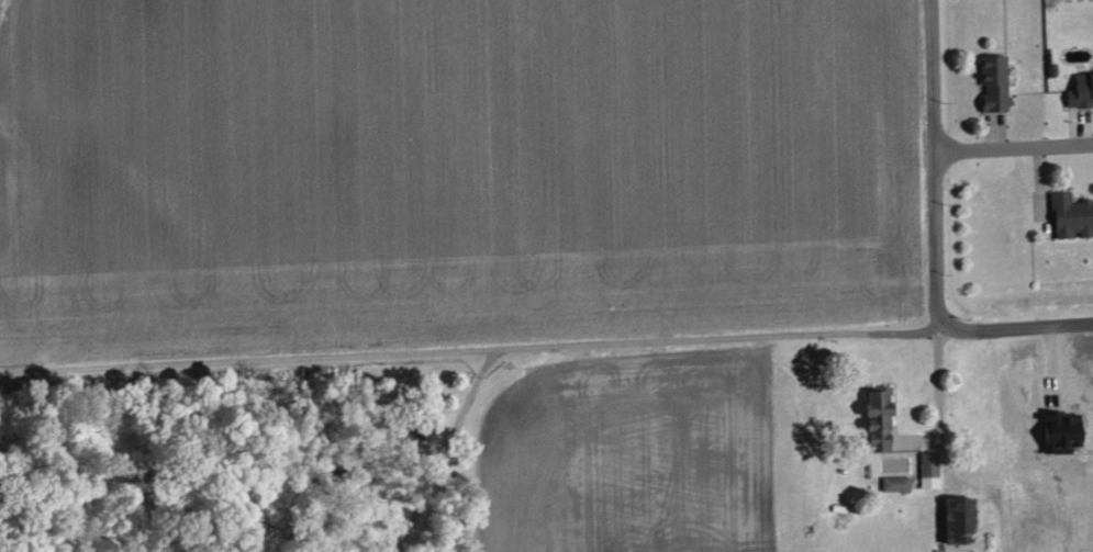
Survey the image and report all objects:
building: (994, 82)
building: (1082, 92)
road: (1080, 128)
road: (995, 133)
road: (1013, 146)
road: (934, 158)
road: (1040, 180)
building: (1072, 216)
road: (1012, 329)
road: (478, 346)
road: (1050, 364)
road: (938, 396)
building: (880, 419)
building: (1063, 430)
road: (443, 448)
building: (928, 467)
building: (899, 484)
building: (966, 517)

